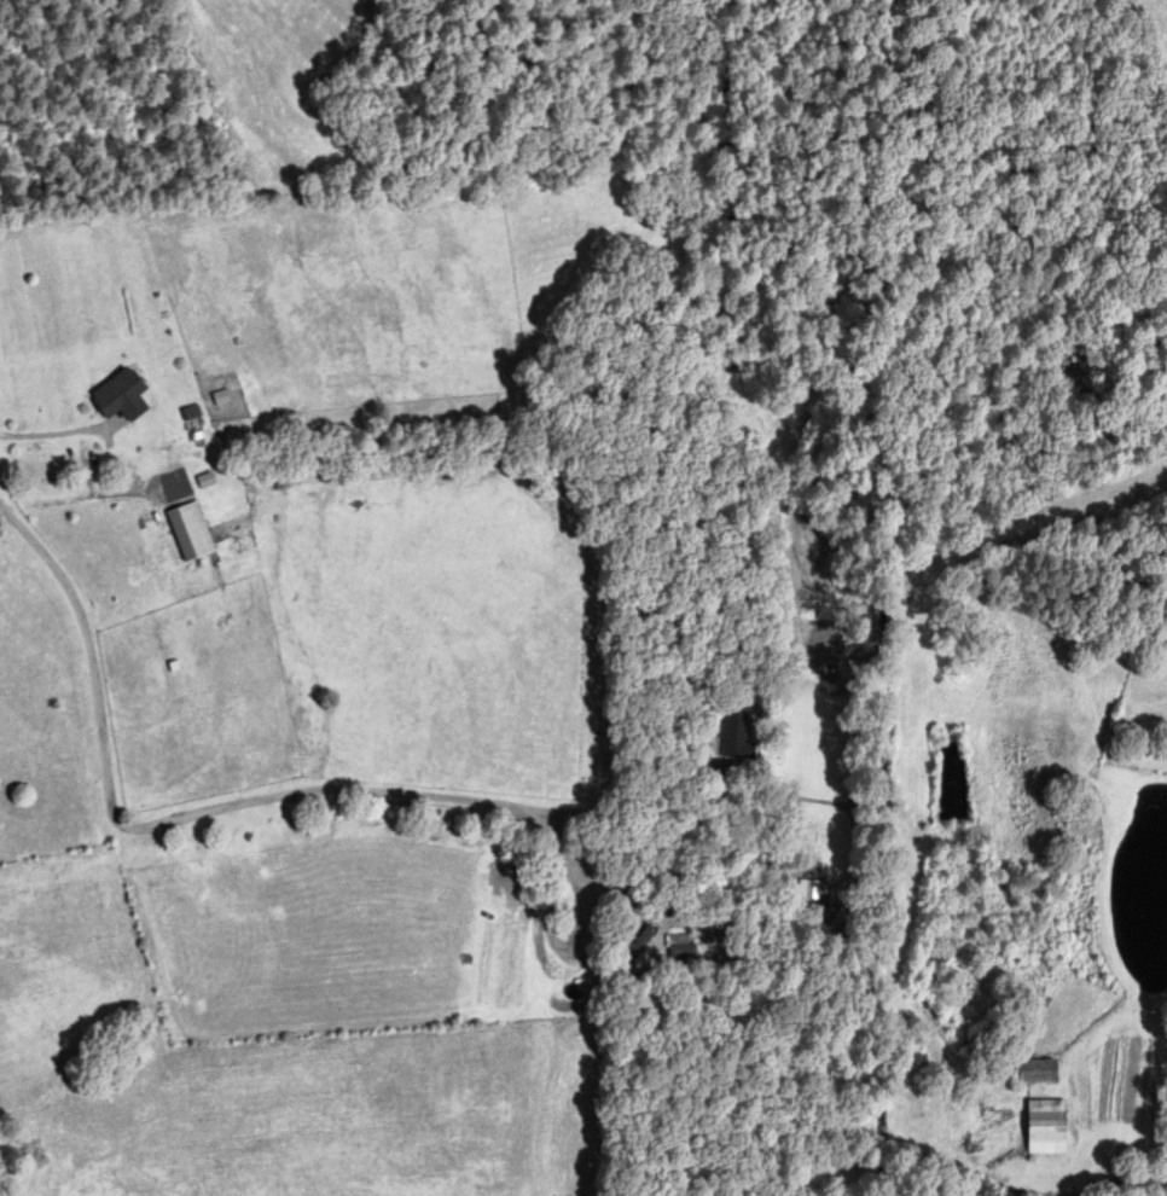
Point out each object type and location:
building: (121, 397)
road: (51, 434)
road: (81, 500)
building: (190, 533)
building: (736, 735)
road: (713, 766)
road: (190, 813)
building: (785, 859)
building: (1038, 1073)
building: (1046, 1127)

